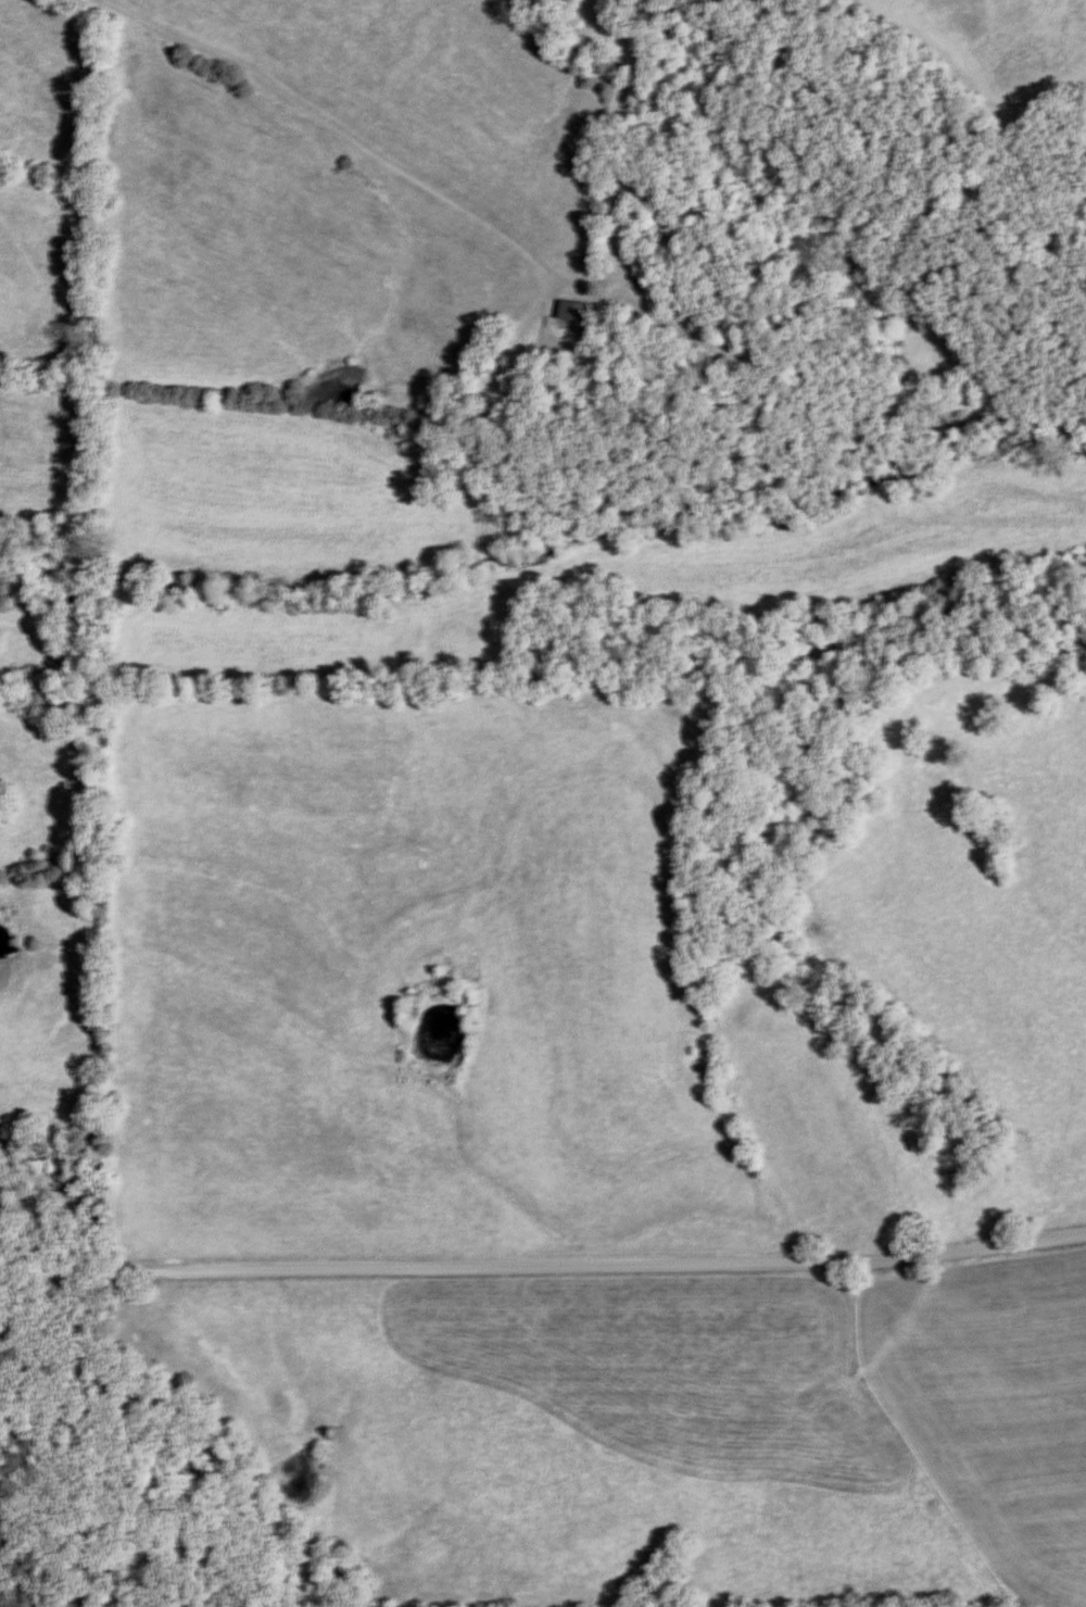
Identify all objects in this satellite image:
building: (577, 312)
road: (39, 1178)
road: (541, 1269)

